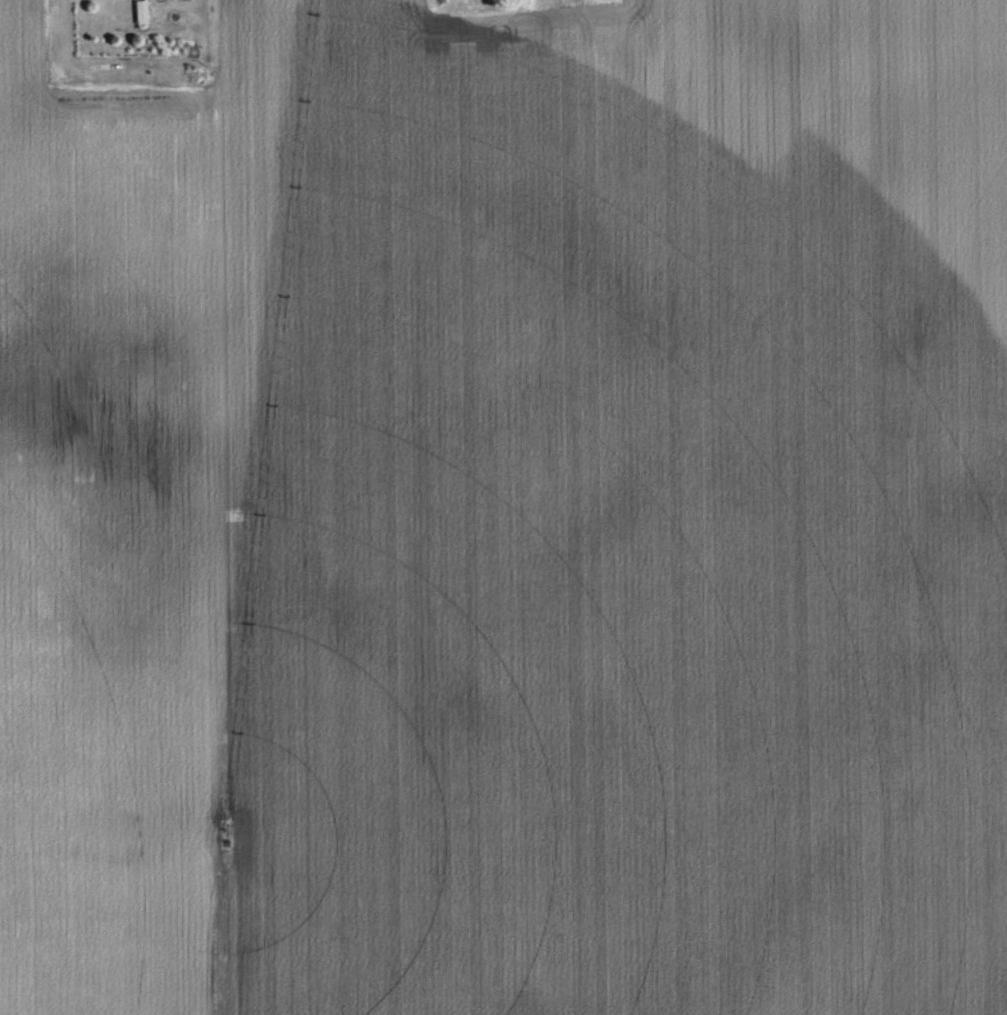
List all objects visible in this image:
building: (139, 12)

